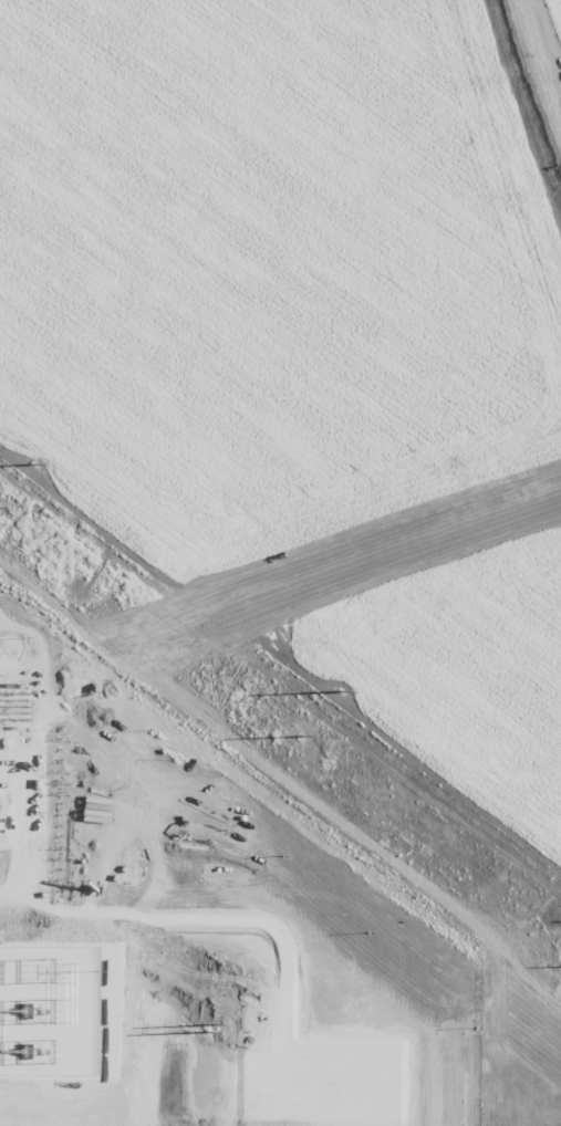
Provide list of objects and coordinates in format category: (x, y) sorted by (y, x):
power tower: (29, 460)
crop: (280, 563)
power tower: (335, 687)
power tower: (300, 736)

